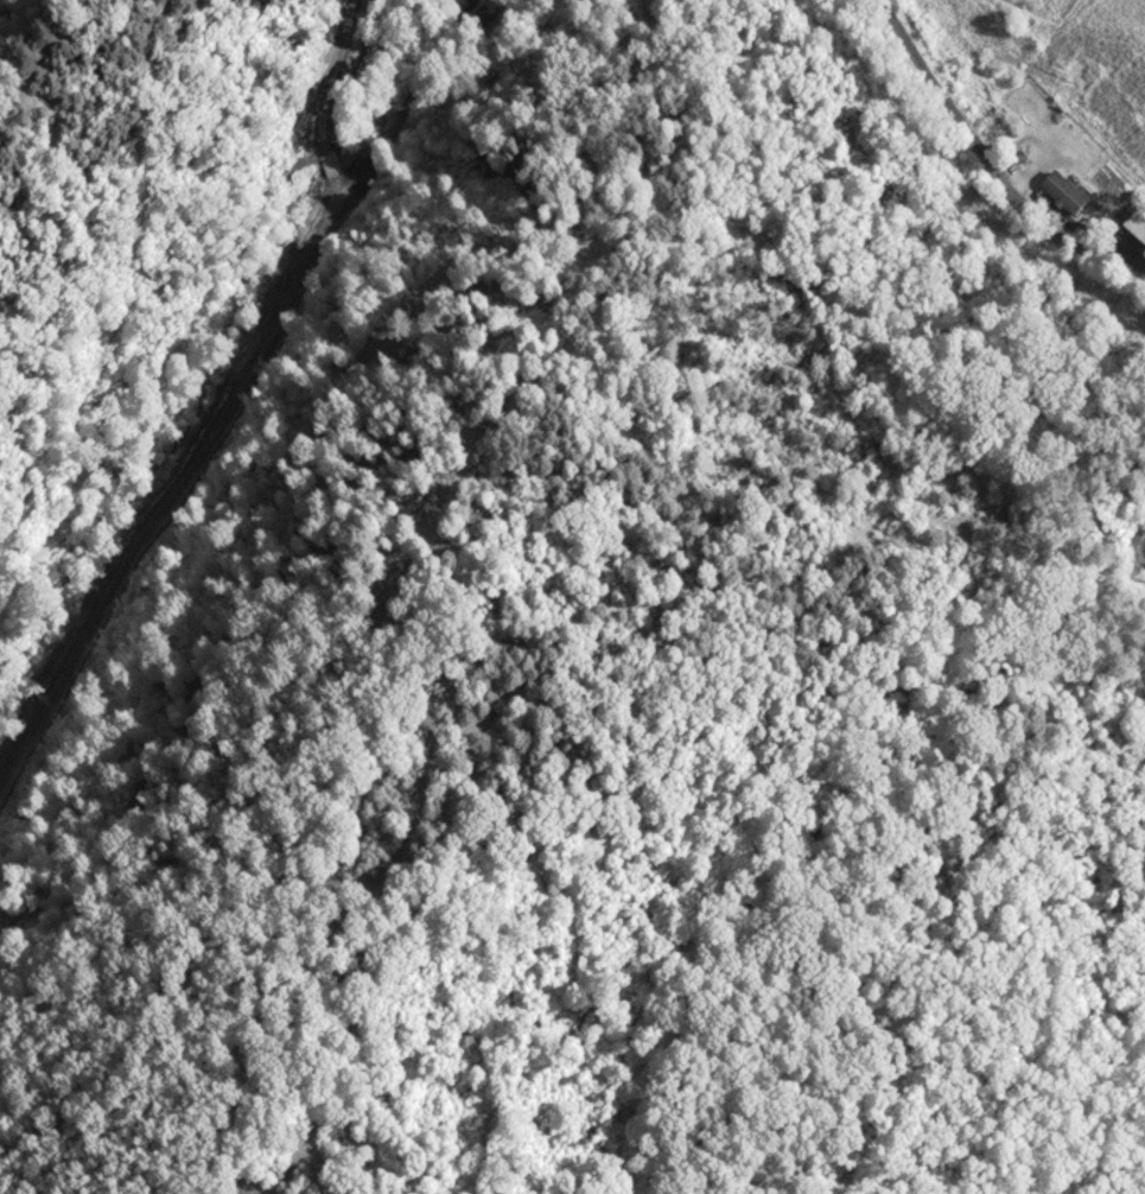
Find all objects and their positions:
road: (992, 158)
building: (1140, 224)
road: (254, 451)

